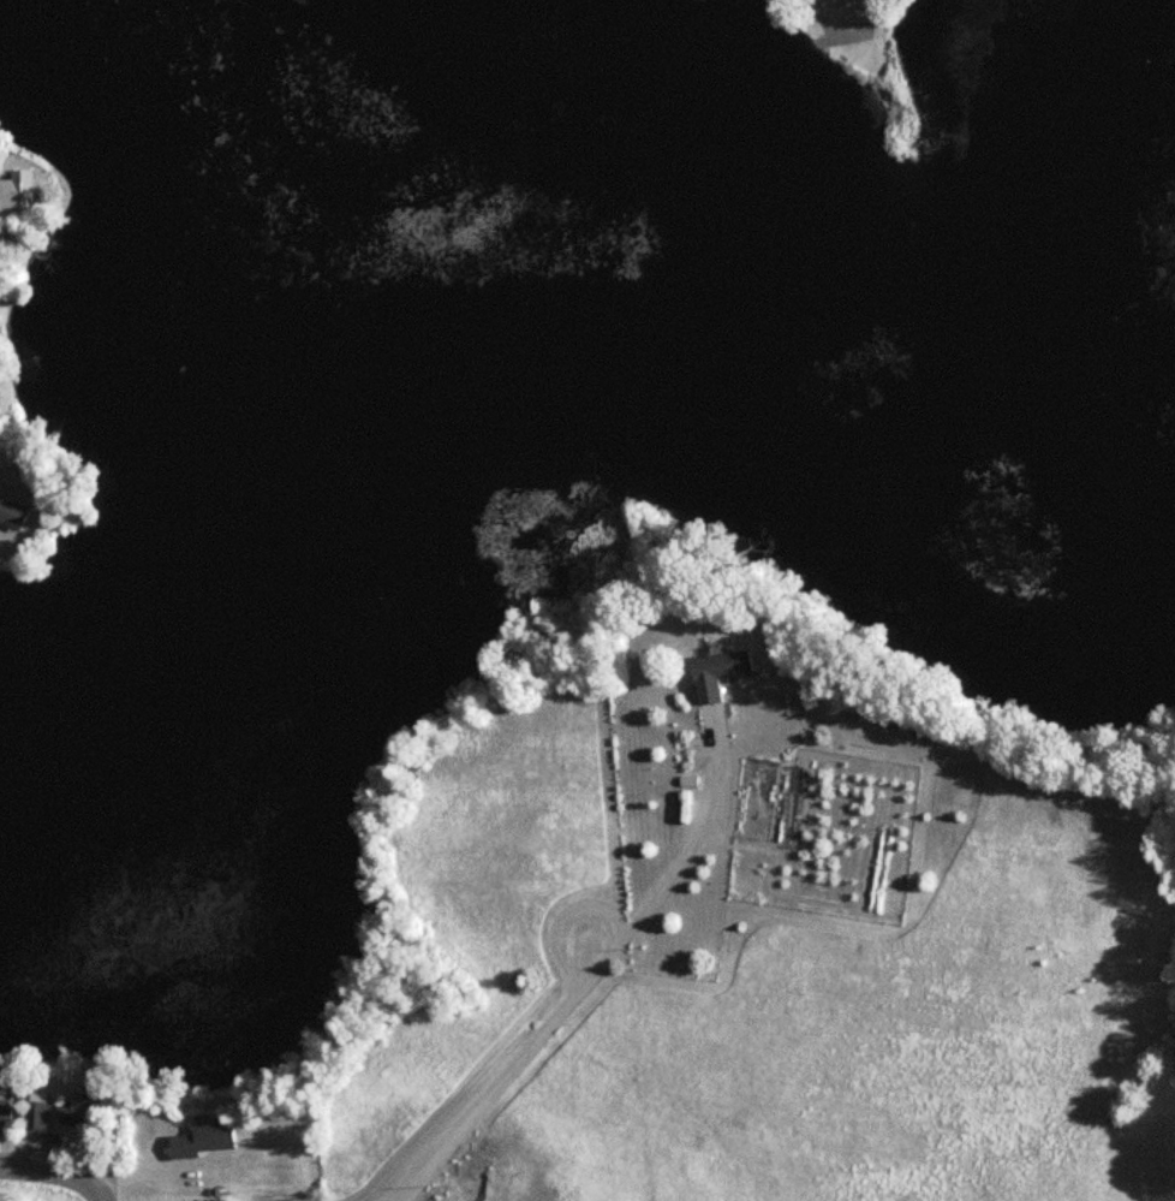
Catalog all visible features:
building: (11, 189)
river: (538, 254)
building: (11, 513)
building: (714, 672)
road: (561, 915)
road: (585, 976)
building: (1, 1106)
building: (72, 1110)
building: (31, 1114)
building: (201, 1140)
road: (47, 1172)
road: (93, 1195)

